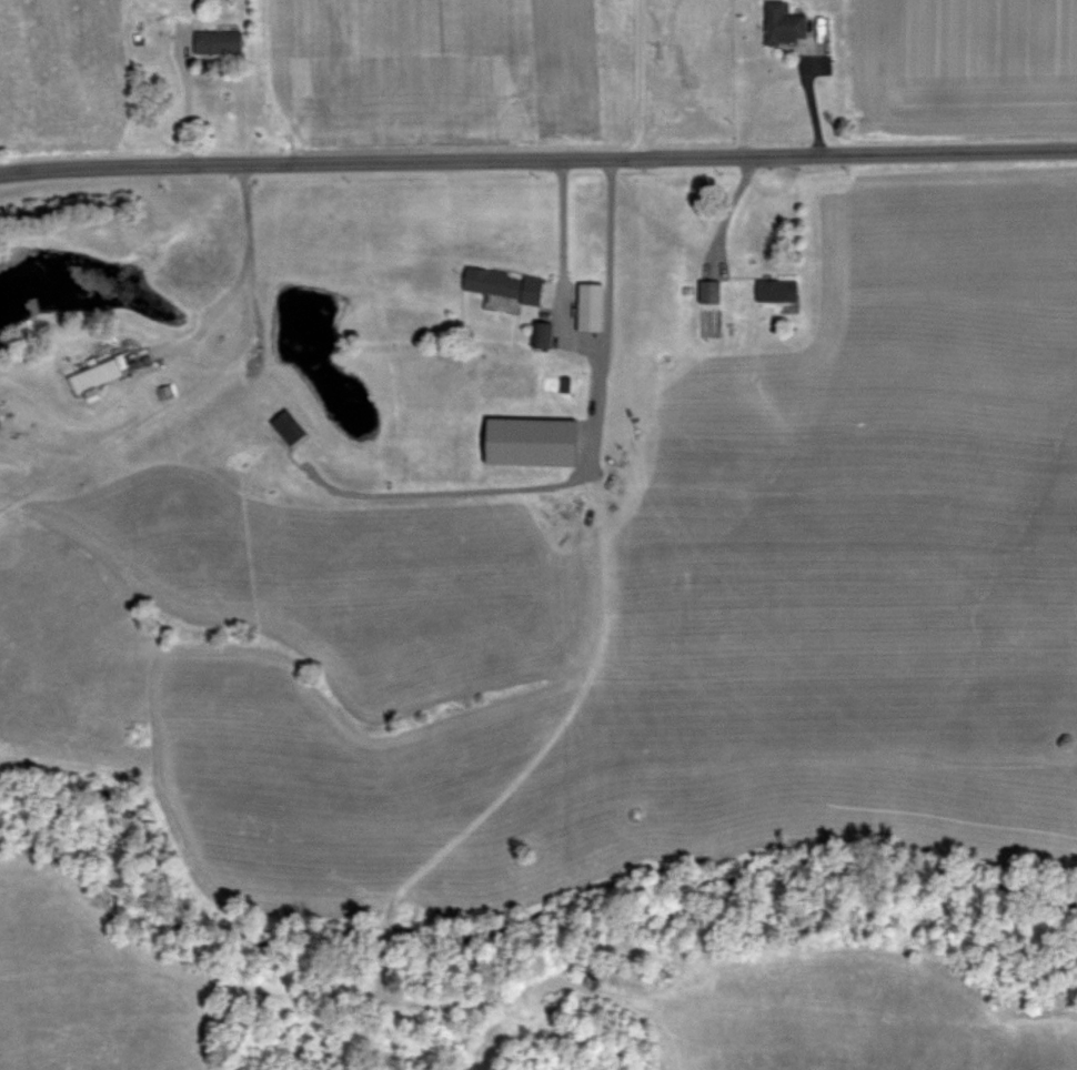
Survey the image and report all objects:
building: (786, 26)
building: (219, 43)
road: (636, 78)
road: (181, 92)
road: (816, 107)
road: (537, 158)
road: (727, 214)
road: (244, 215)
road: (608, 233)
road: (560, 251)
building: (504, 285)
building: (711, 292)
building: (778, 292)
building: (592, 309)
building: (541, 336)
road: (223, 357)
building: (97, 375)
building: (0, 424)

